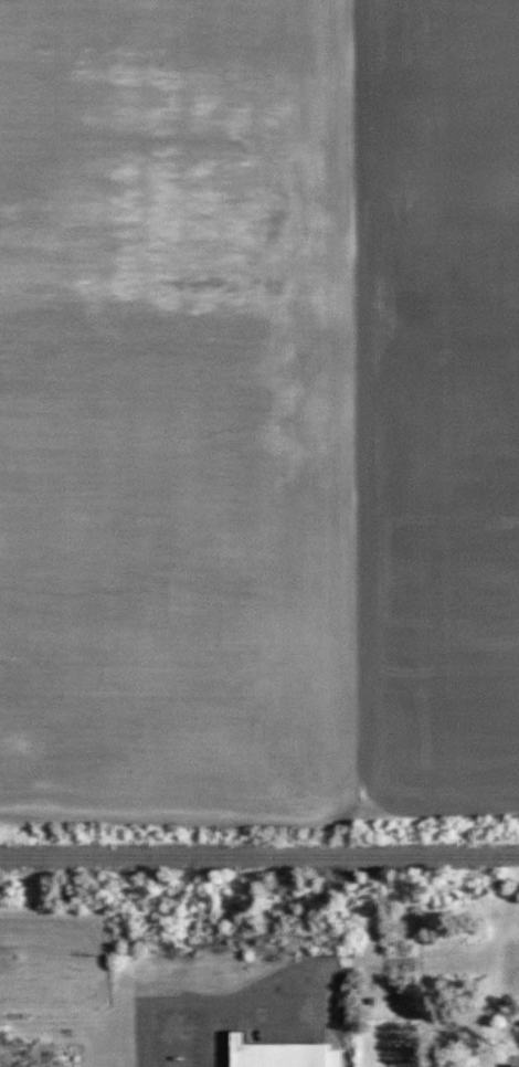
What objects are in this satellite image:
railway: (259, 858)
building: (285, 1055)

